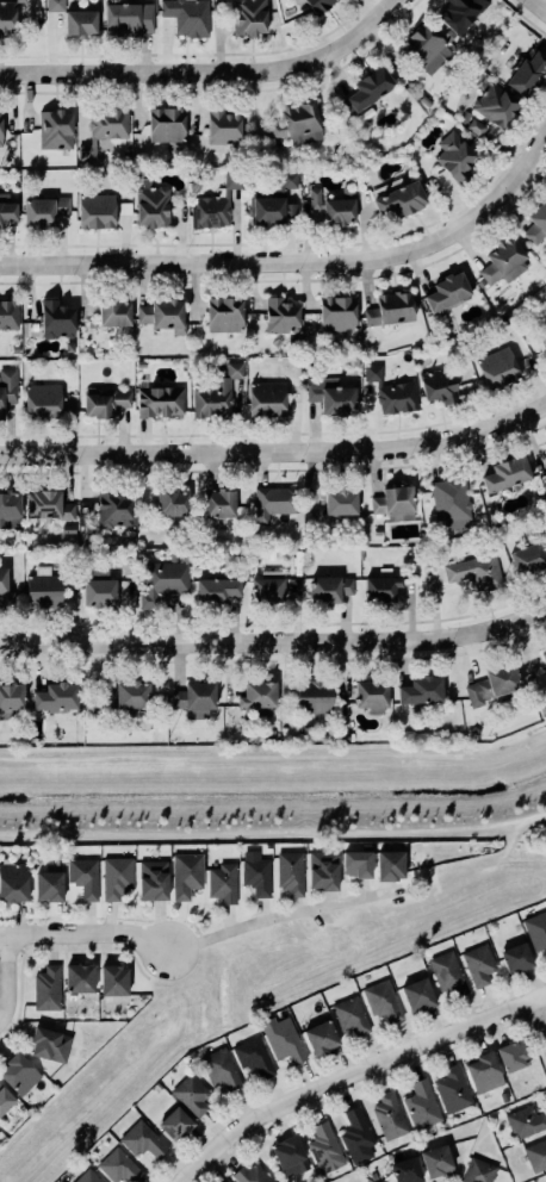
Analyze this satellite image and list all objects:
road: (540, 4)
building: (55, 5)
building: (321, 5)
building: (460, 13)
building: (7, 14)
building: (187, 15)
building: (249, 17)
building: (129, 19)
building: (81, 23)
building: (448, 35)
building: (423, 44)
road: (210, 69)
building: (527, 70)
building: (371, 87)
building: (496, 104)
building: (464, 116)
building: (294, 119)
building: (166, 124)
building: (222, 125)
building: (476, 126)
building: (0, 127)
building: (104, 127)
building: (55, 129)
building: (454, 155)
building: (287, 179)
building: (403, 198)
building: (215, 204)
building: (153, 205)
building: (334, 206)
building: (7, 207)
building: (269, 209)
building: (44, 210)
building: (97, 211)
building: (536, 224)
road: (297, 261)
building: (503, 261)
building: (479, 281)
building: (447, 291)
building: (390, 307)
building: (114, 312)
building: (337, 312)
building: (225, 313)
building: (8, 315)
building: (163, 315)
building: (281, 316)
building: (57, 318)
building: (545, 329)
building: (14, 348)
building: (354, 361)
building: (141, 363)
building: (498, 367)
building: (439, 384)
building: (7, 387)
building: (391, 391)
building: (215, 392)
building: (330, 396)
building: (43, 398)
building: (267, 398)
building: (160, 400)
building: (106, 402)
building: (545, 446)
road: (277, 452)
building: (507, 473)
building: (544, 480)
building: (341, 500)
building: (173, 502)
building: (221, 502)
building: (273, 502)
building: (395, 503)
building: (451, 503)
building: (49, 504)
building: (10, 509)
building: (112, 509)
building: (142, 518)
building: (68, 529)
building: (231, 554)
building: (528, 558)
building: (476, 572)
building: (4, 580)
building: (163, 580)
building: (329, 587)
building: (381, 587)
building: (44, 589)
building: (217, 589)
building: (268, 589)
building: (100, 592)
road: (275, 642)
building: (544, 654)
building: (494, 684)
building: (422, 690)
building: (372, 692)
building: (134, 693)
building: (259, 693)
building: (196, 696)
building: (315, 696)
building: (57, 697)
building: (11, 698)
road: (329, 757)
road: (55, 759)
park: (275, 791)
road: (538, 814)
road: (452, 827)
road: (187, 830)
building: (358, 863)
building: (390, 865)
building: (323, 870)
road: (489, 871)
building: (290, 872)
building: (186, 875)
building: (256, 876)
building: (83, 877)
building: (116, 877)
building: (153, 879)
building: (13, 883)
building: (223, 883)
building: (49, 887)
road: (283, 915)
building: (535, 929)
road: (86, 933)
building: (516, 957)
building: (478, 964)
building: (447, 973)
road: (5, 976)
building: (80, 977)
building: (114, 979)
building: (46, 988)
building: (417, 996)
building: (70, 997)
building: (383, 1001)
building: (349, 1015)
road: (538, 1021)
building: (322, 1037)
building: (283, 1039)
building: (50, 1043)
building: (191, 1053)
building: (513, 1053)
building: (253, 1056)
building: (219, 1068)
building: (484, 1071)
building: (19, 1072)
road: (354, 1074)
building: (156, 1087)
building: (452, 1088)
building: (191, 1094)
building: (503, 1096)
building: (5, 1099)
building: (421, 1103)
building: (389, 1115)
building: (525, 1121)
building: (175, 1122)
building: (355, 1131)
building: (142, 1139)
building: (324, 1147)
building: (290, 1155)
building: (536, 1155)
building: (438, 1161)
building: (119, 1165)
building: (405, 1169)
building: (478, 1171)
building: (250, 1174)
building: (87, 1176)
building: (228, 1181)

